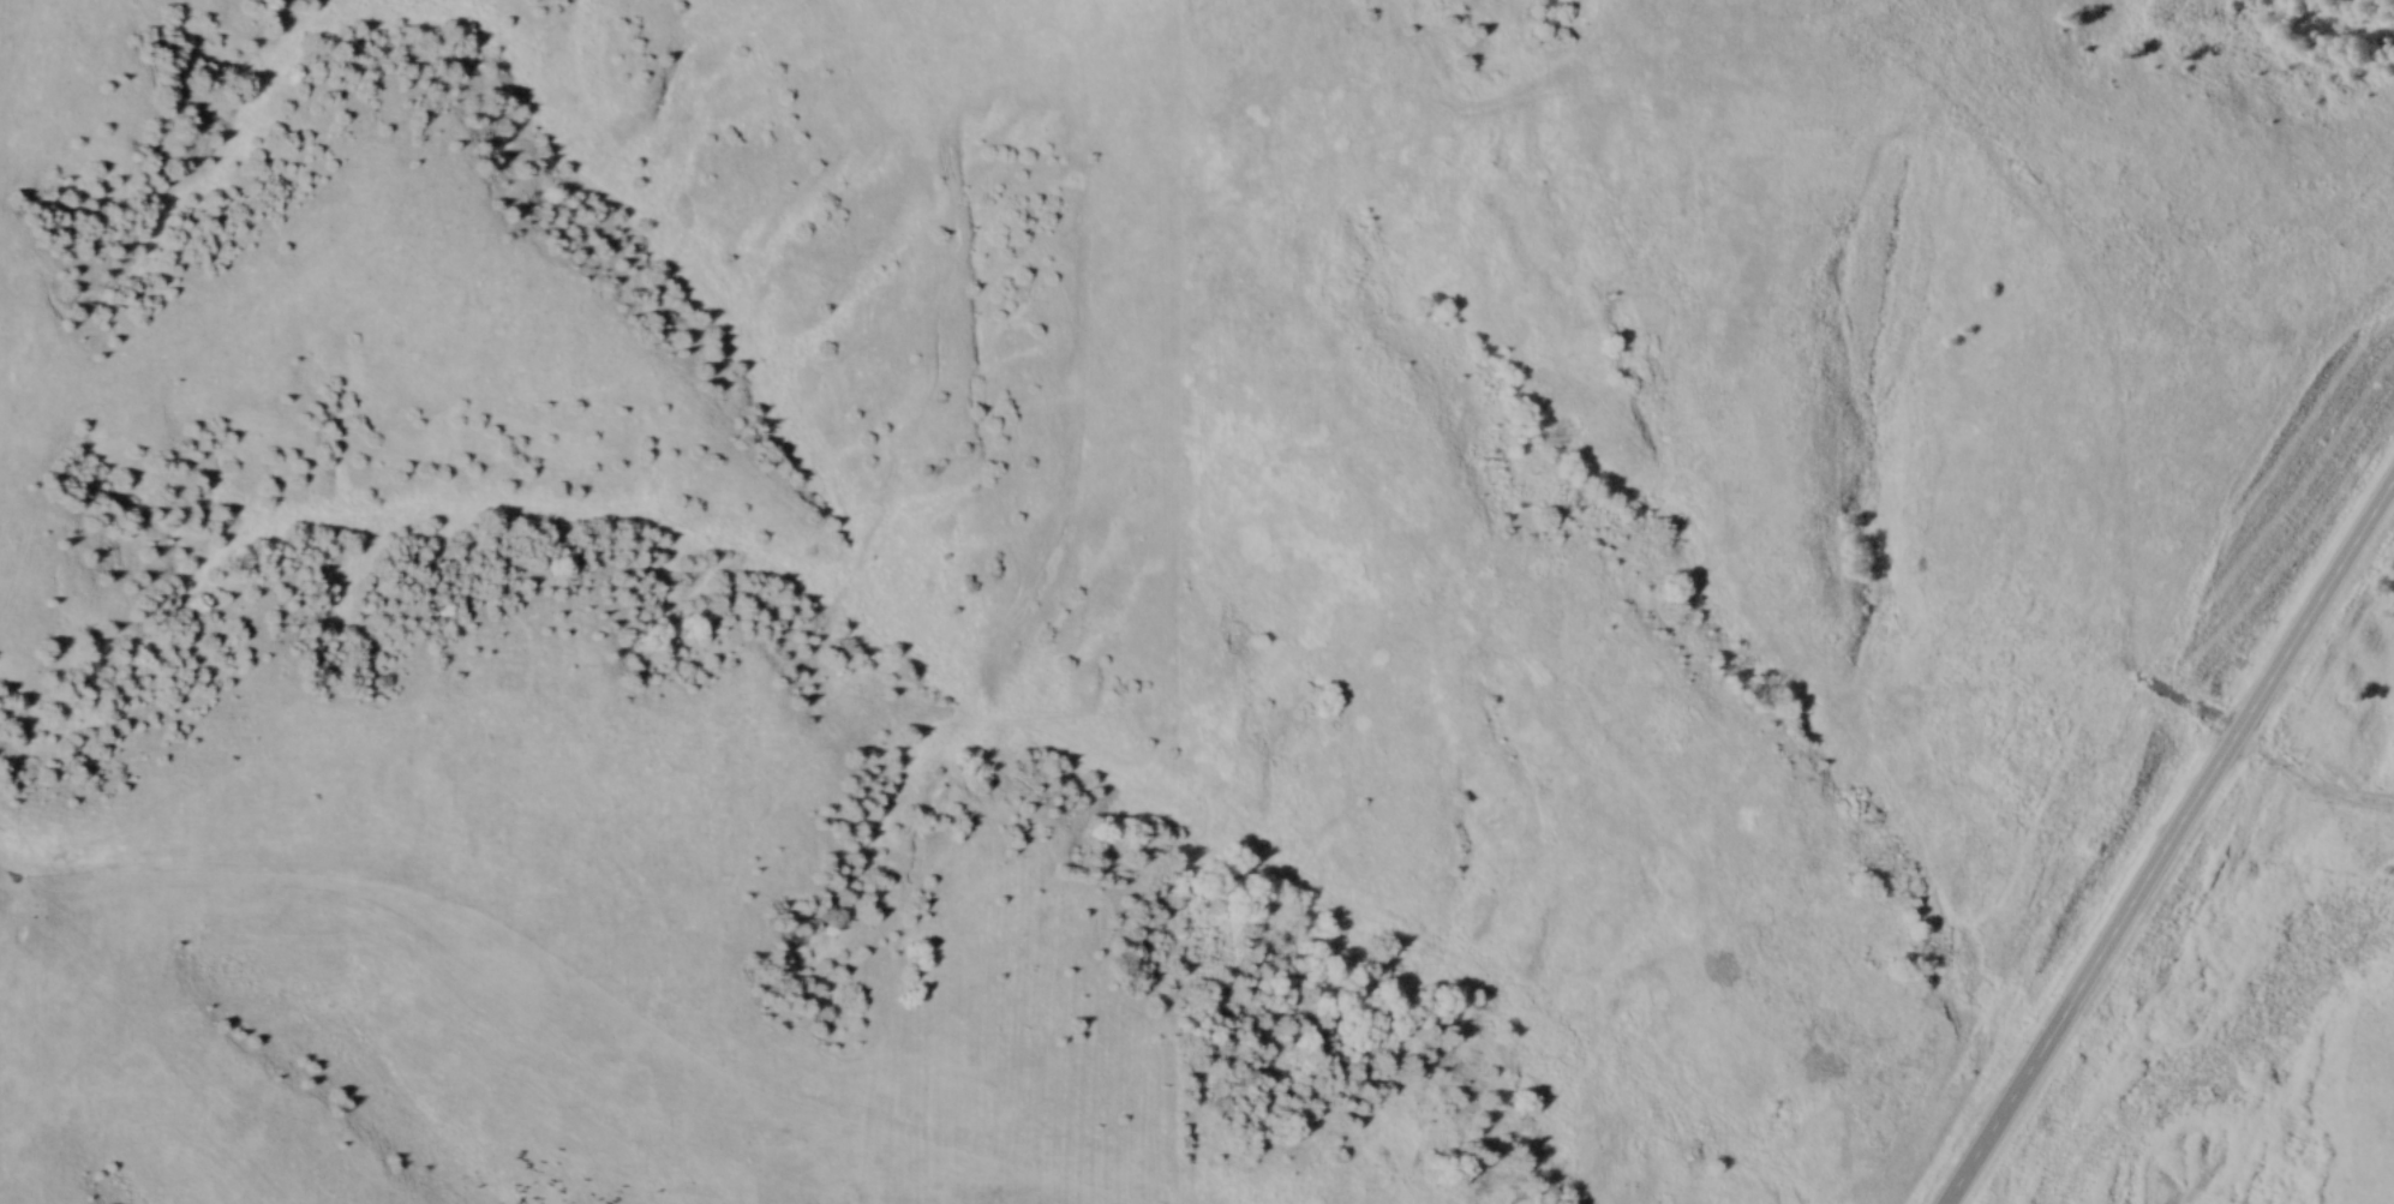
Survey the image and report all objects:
road: (2311, 781)
road: (2172, 844)

